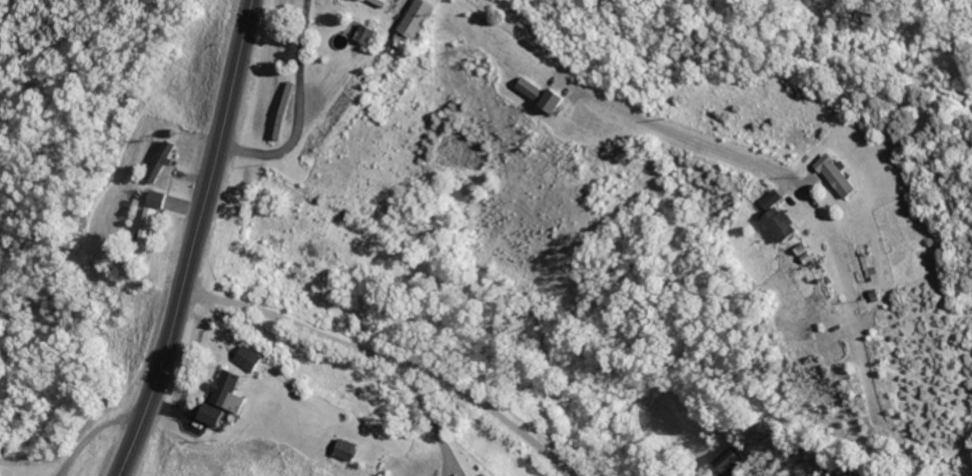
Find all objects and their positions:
building: (386, 2)
building: (420, 18)
building: (369, 33)
road: (505, 65)
building: (533, 88)
building: (559, 100)
building: (841, 175)
building: (160, 198)
building: (772, 198)
building: (150, 220)
building: (781, 223)
road: (195, 240)
building: (250, 358)
road: (392, 359)
building: (231, 391)
building: (214, 415)
road: (432, 416)
road: (92, 432)
building: (352, 449)
building: (728, 460)

